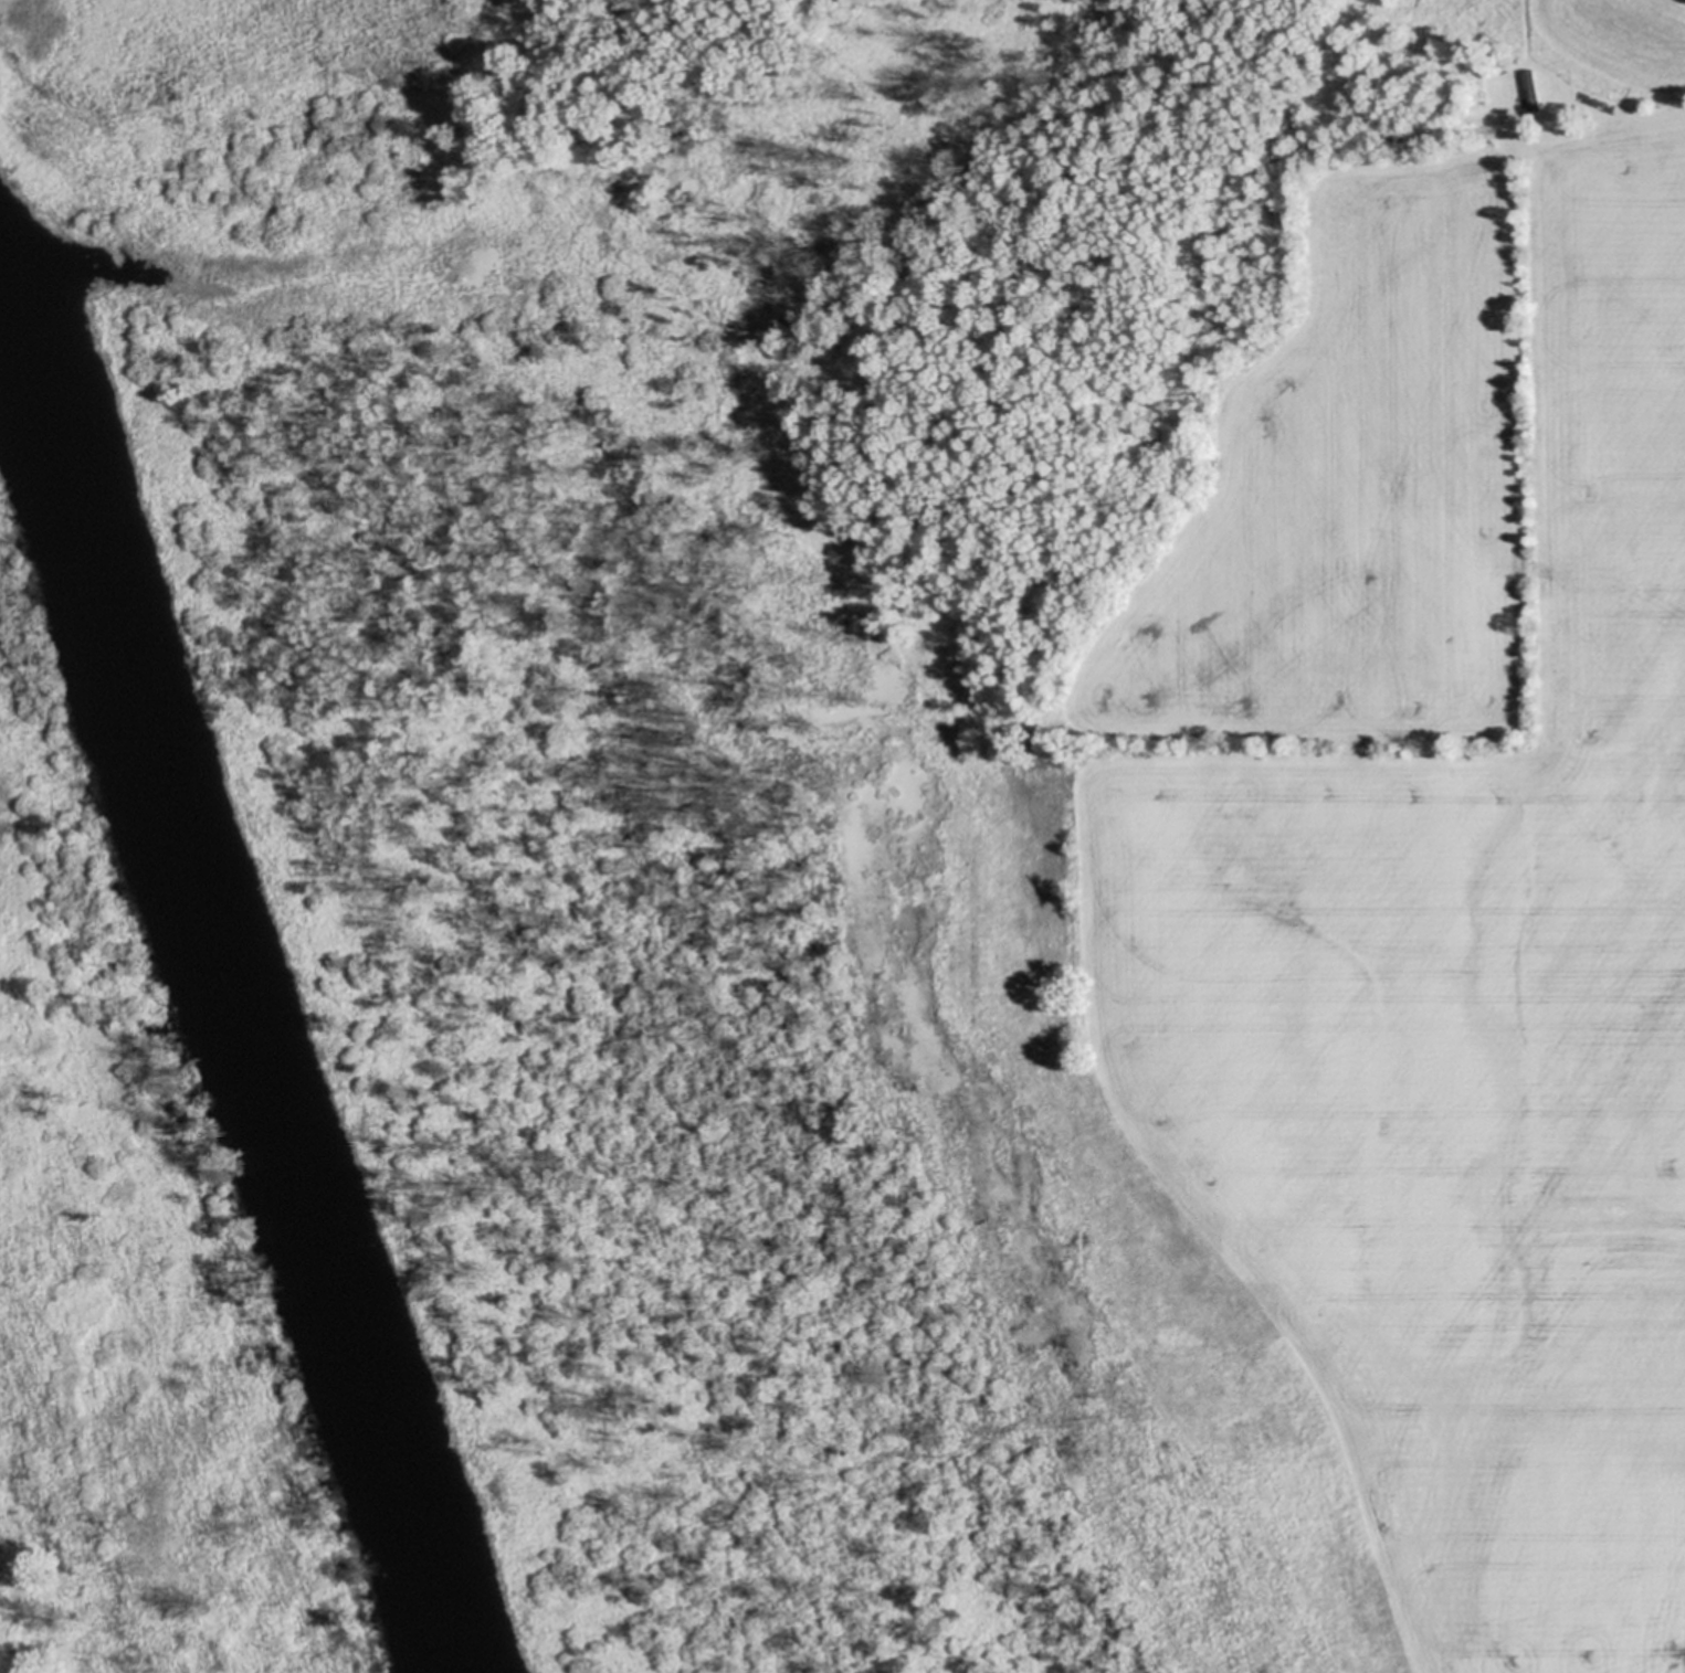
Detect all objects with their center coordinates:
building: (1538, 91)
river: (242, 983)

